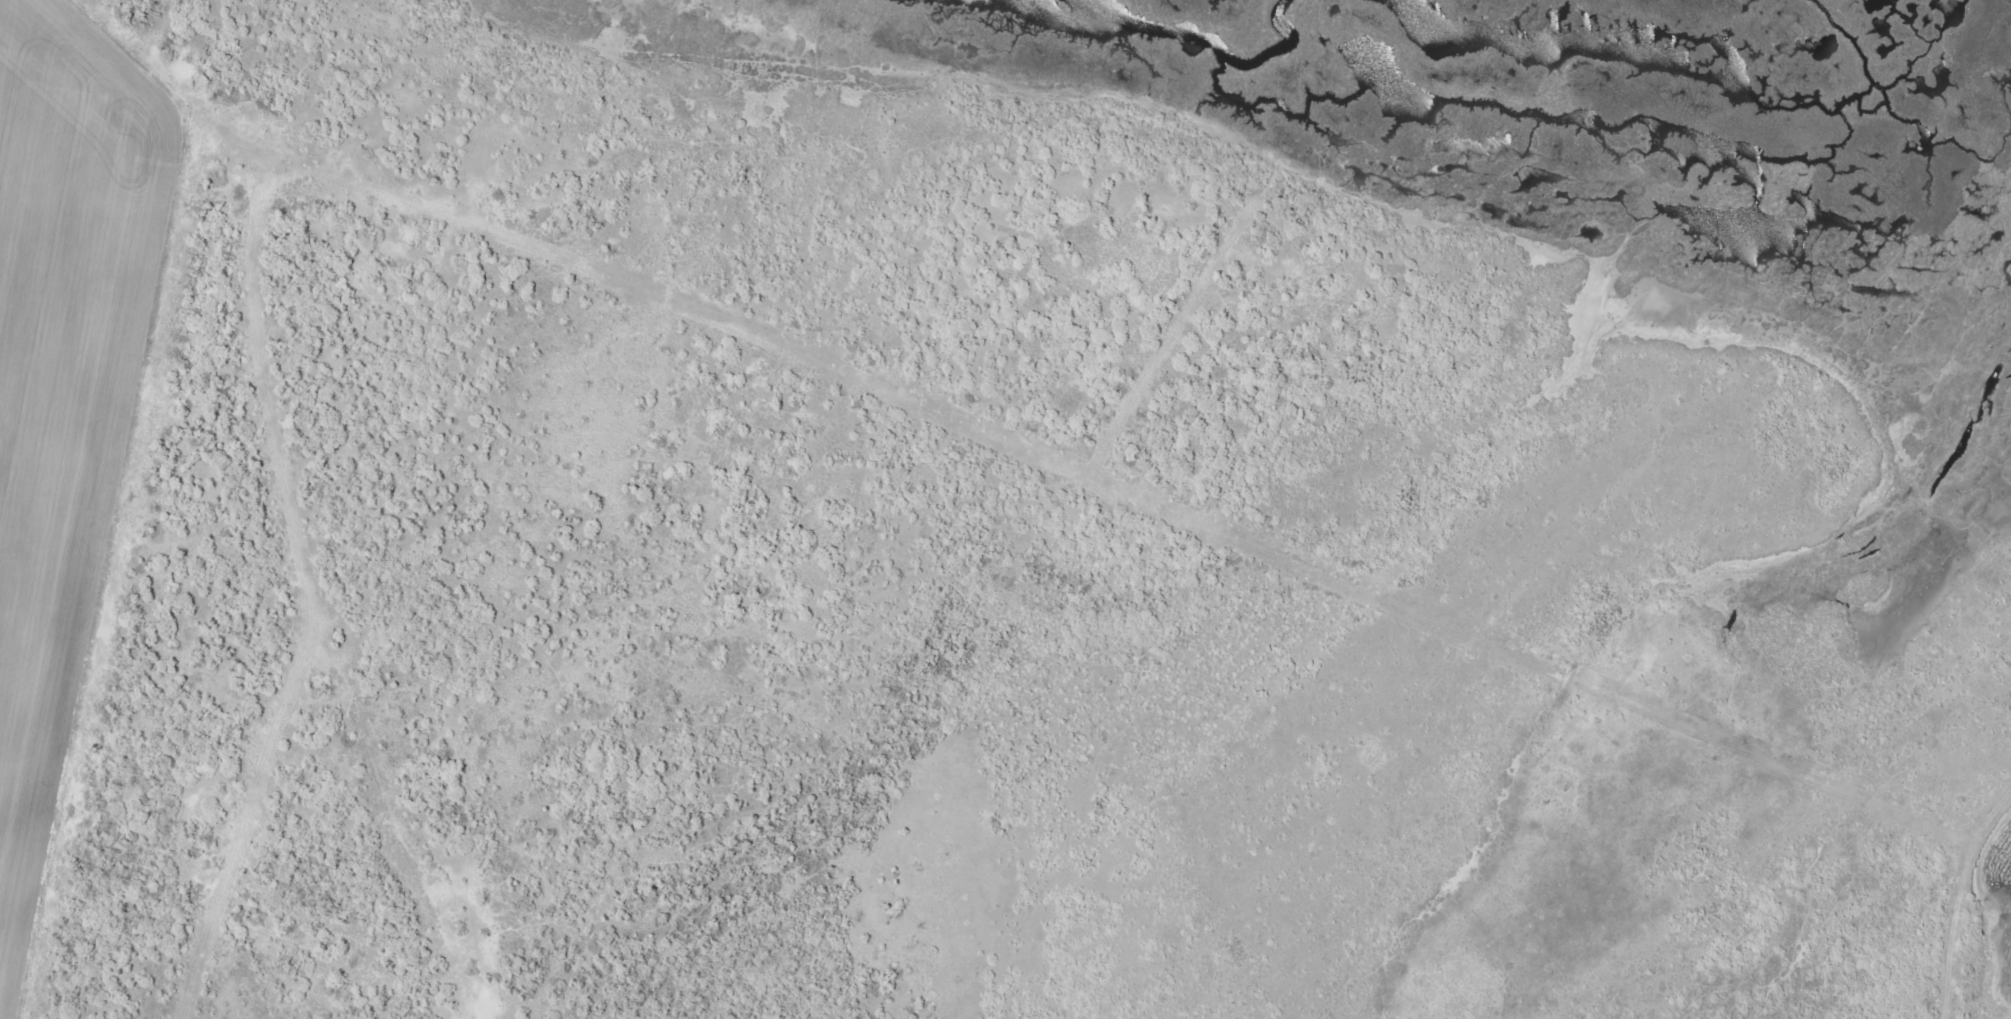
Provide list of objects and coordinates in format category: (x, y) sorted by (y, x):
road: (415, 425)
road: (1889, 798)

